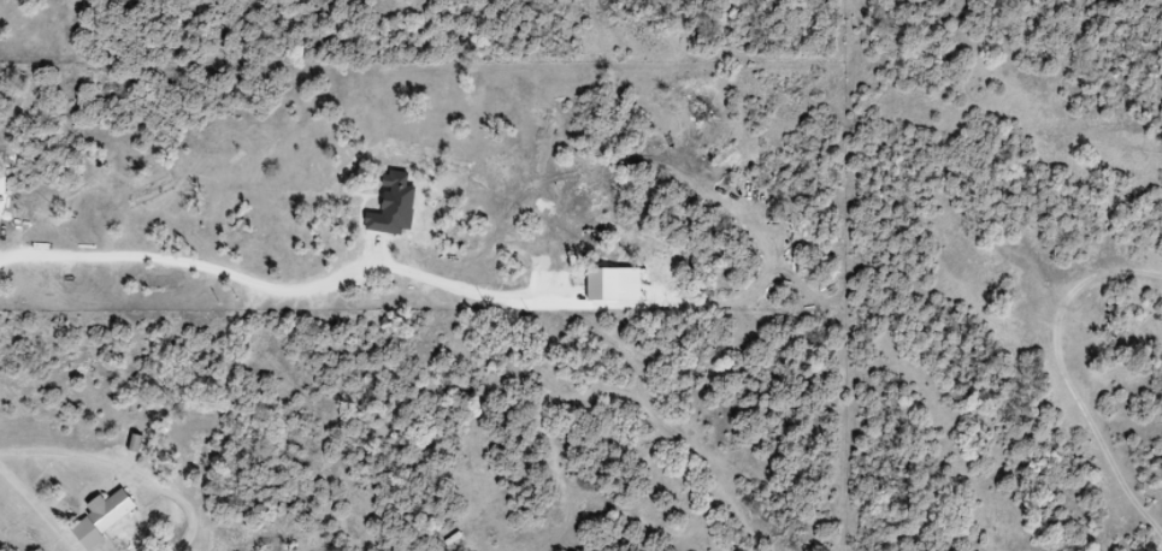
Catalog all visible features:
road: (188, 259)
road: (123, 473)
road: (45, 505)
building: (100, 517)

